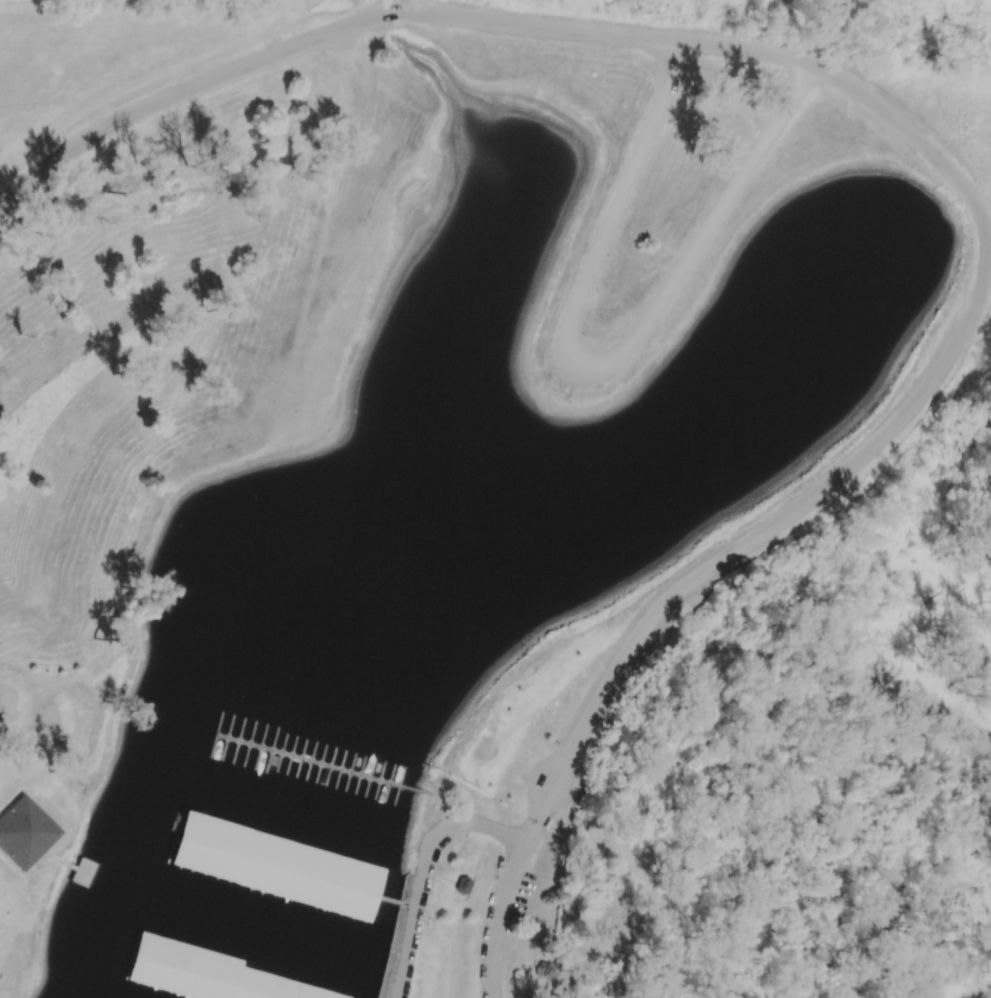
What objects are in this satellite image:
road: (857, 95)
road: (598, 368)
park: (495, 499)
parking lot: (661, 633)
road: (836, 670)
road: (5, 702)
parking lot: (6, 706)
road: (326, 764)
road: (43, 810)
road: (443, 811)
road: (539, 816)
building: (24, 833)
building: (205, 852)
road: (52, 858)
road: (72, 866)
road: (423, 870)
road: (85, 871)
road: (289, 874)
road: (22, 877)
building: (308, 879)
road: (411, 906)
road: (525, 907)
road: (496, 917)
building: (533, 941)
road: (127, 944)
building: (183, 963)
road: (208, 971)
building: (277, 985)
road: (980, 994)

